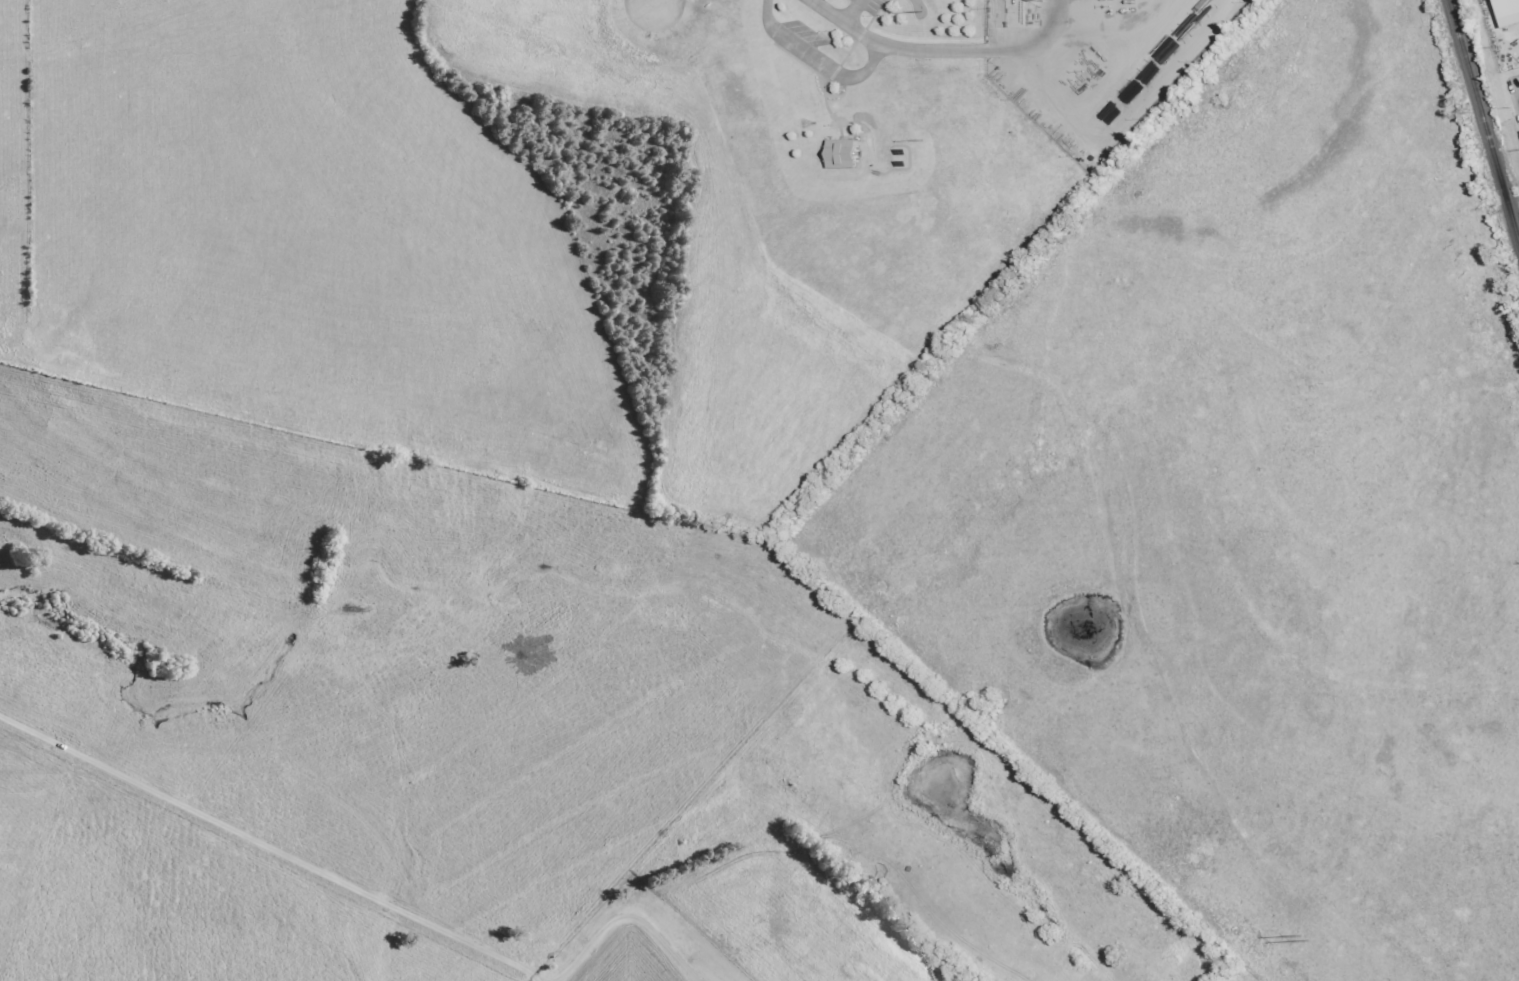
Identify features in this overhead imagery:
building: (1509, 12)
road: (849, 18)
road: (951, 43)
road: (820, 52)
railway: (1483, 120)
building: (845, 154)
road: (274, 845)
road: (626, 917)
power tower: (1301, 937)

